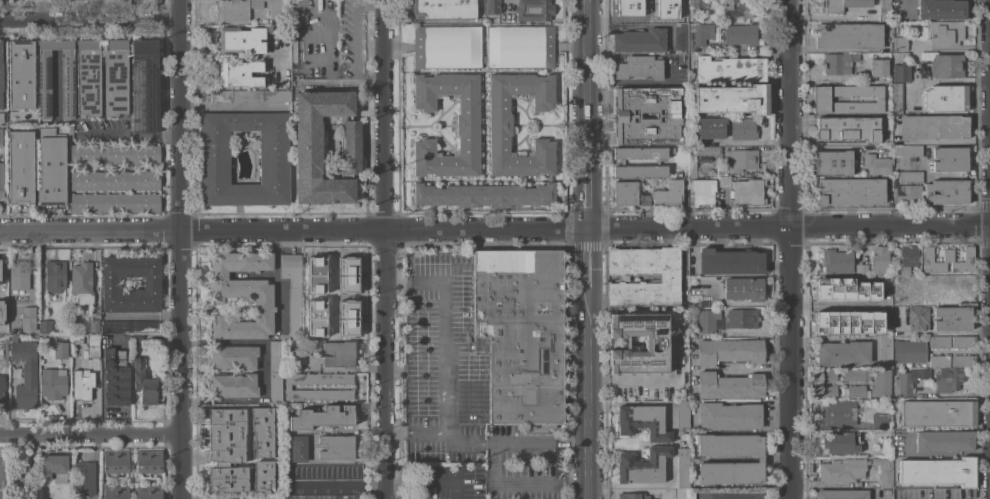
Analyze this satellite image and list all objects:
building: (697, 4)
building: (841, 5)
building: (492, 7)
building: (275, 8)
building: (739, 8)
building: (237, 9)
building: (444, 9)
building: (636, 9)
building: (666, 9)
building: (942, 9)
building: (534, 10)
building: (884, 10)
road: (88, 15)
building: (681, 16)
road: (625, 25)
building: (716, 25)
building: (945, 32)
building: (702, 33)
building: (741, 33)
building: (848, 35)
building: (681, 38)
building: (241, 39)
building: (447, 40)
building: (640, 40)
building: (690, 43)
building: (899, 43)
road: (331, 47)
road: (355, 51)
building: (915, 57)
building: (838, 62)
building: (947, 65)
building: (639, 67)
building: (878, 67)
building: (730, 69)
building: (900, 72)
building: (240, 73)
building: (21, 74)
building: (1, 76)
road: (371, 81)
building: (67, 83)
building: (144, 85)
building: (116, 89)
building: (250, 96)
building: (897, 96)
building: (946, 97)
building: (821, 98)
building: (732, 99)
building: (627, 115)
building: (1, 117)
building: (709, 127)
building: (933, 127)
building: (743, 128)
building: (848, 128)
road: (130, 135)
building: (1, 136)
building: (468, 140)
road: (752, 142)
road: (825, 144)
building: (308, 147)
building: (907, 150)
building: (642, 152)
building: (114, 153)
building: (950, 158)
building: (274, 159)
building: (739, 159)
building: (692, 161)
building: (832, 162)
building: (876, 164)
building: (21, 167)
building: (52, 168)
building: (641, 171)
building: (720, 172)
building: (1, 180)
building: (115, 180)
building: (723, 181)
building: (907, 187)
building: (702, 191)
building: (748, 191)
building: (850, 191)
building: (947, 191)
building: (668, 193)
building: (628, 194)
building: (115, 203)
road: (494, 227)
road: (183, 249)
road: (388, 249)
road: (582, 249)
road: (788, 249)
building: (879, 259)
building: (906, 260)
building: (948, 260)
building: (730, 261)
building: (837, 261)
building: (861, 268)
building: (316, 274)
building: (19, 275)
building: (55, 275)
building: (348, 275)
building: (665, 275)
building: (0, 277)
building: (110, 282)
building: (81, 283)
road: (399, 283)
building: (744, 288)
building: (844, 288)
building: (900, 288)
building: (943, 289)
building: (293, 290)
building: (242, 293)
road: (836, 305)
building: (1, 312)
building: (316, 317)
building: (917, 317)
building: (28, 318)
building: (348, 318)
building: (953, 318)
building: (725, 319)
building: (833, 324)
building: (94, 325)
building: (44, 326)
building: (130, 326)
building: (521, 333)
building: (138, 337)
building: (77, 339)
road: (446, 340)
building: (939, 341)
building: (963, 341)
building: (655, 344)
building: (60, 349)
building: (92, 349)
building: (729, 351)
building: (908, 351)
building: (885, 352)
building: (843, 353)
building: (339, 354)
building: (276, 356)
building: (234, 357)
building: (288, 359)
building: (963, 360)
building: (939, 361)
parking lot: (443, 363)
building: (25, 372)
building: (921, 372)
building: (827, 374)
building: (855, 374)
building: (116, 376)
building: (948, 379)
building: (144, 382)
building: (53, 383)
building: (881, 383)
building: (902, 383)
building: (82, 384)
building: (233, 385)
building: (729, 385)
building: (276, 386)
building: (287, 386)
building: (2, 387)
building: (827, 391)
building: (856, 391)
building: (839, 412)
building: (938, 412)
building: (730, 415)
building: (682, 416)
building: (323, 417)
building: (880, 420)
building: (643, 422)
building: (262, 430)
road: (397, 432)
road: (427, 434)
road: (91, 436)
road: (466, 438)
building: (944, 440)
road: (568, 442)
building: (840, 442)
road: (519, 443)
road: (672, 445)
building: (336, 447)
building: (299, 448)
building: (227, 449)
building: (760, 458)
building: (115, 460)
building: (149, 461)
building: (643, 465)
building: (55, 466)
building: (682, 467)
building: (841, 470)
building: (938, 471)
building: (881, 473)
building: (263, 476)
building: (20, 477)
building: (83, 477)
road: (340, 484)
building: (116, 491)
building: (149, 491)
building: (842, 494)
building: (633, 495)
building: (84, 497)
building: (266, 498)

